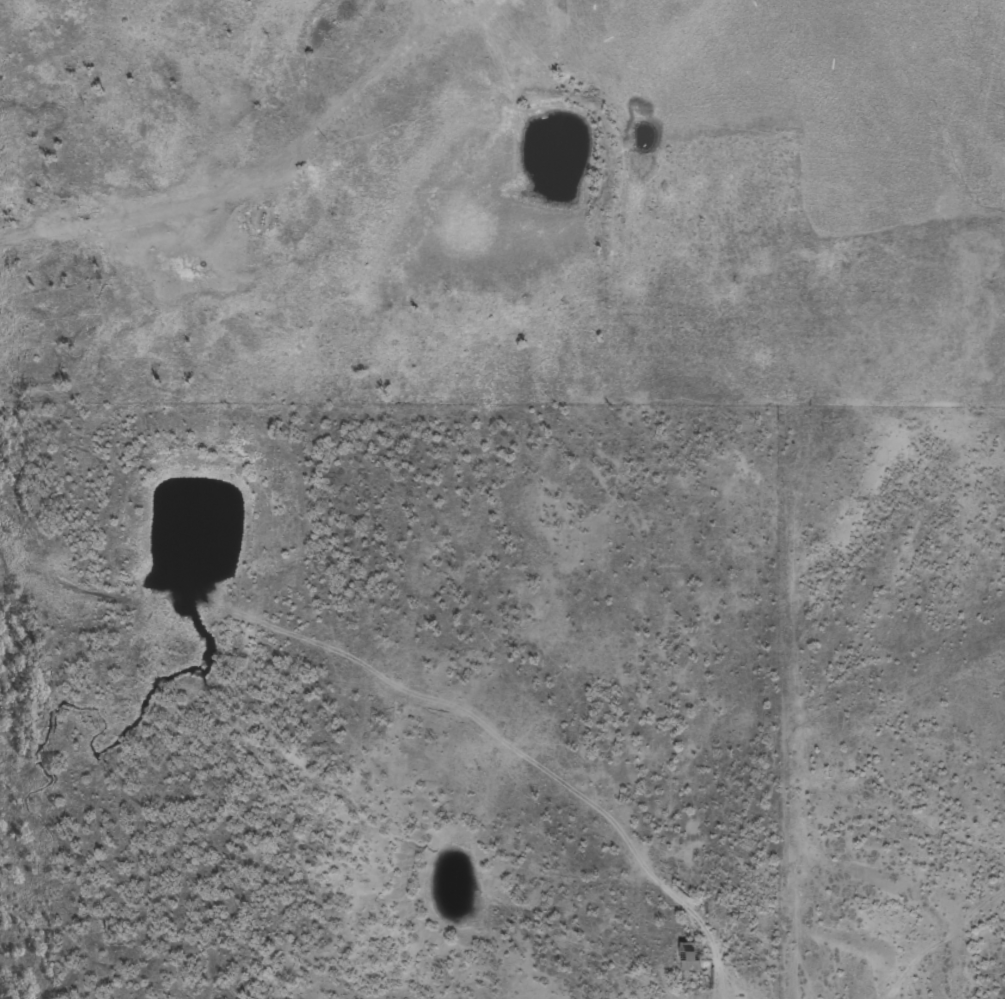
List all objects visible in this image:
road: (262, 187)
building: (687, 970)

